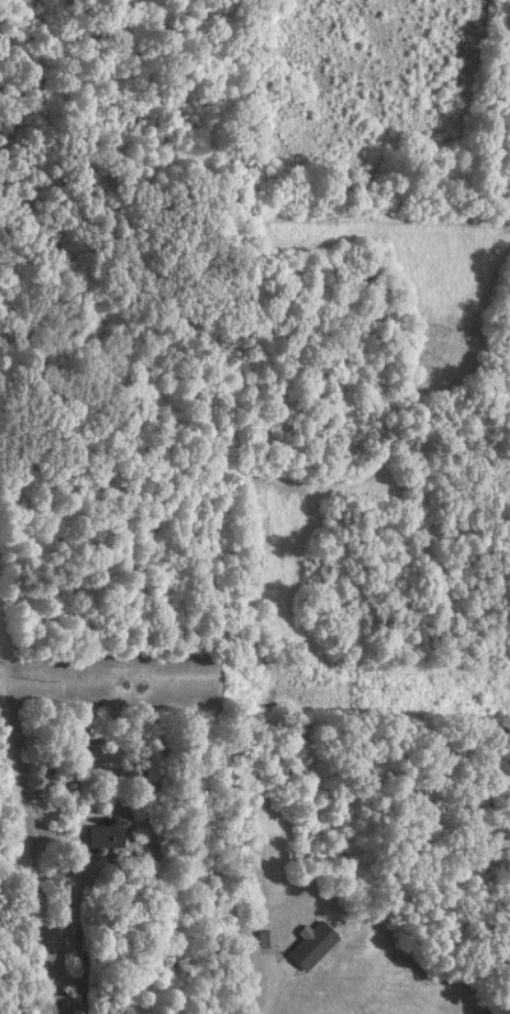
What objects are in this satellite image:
road: (20, 871)
road: (138, 912)
building: (309, 947)

